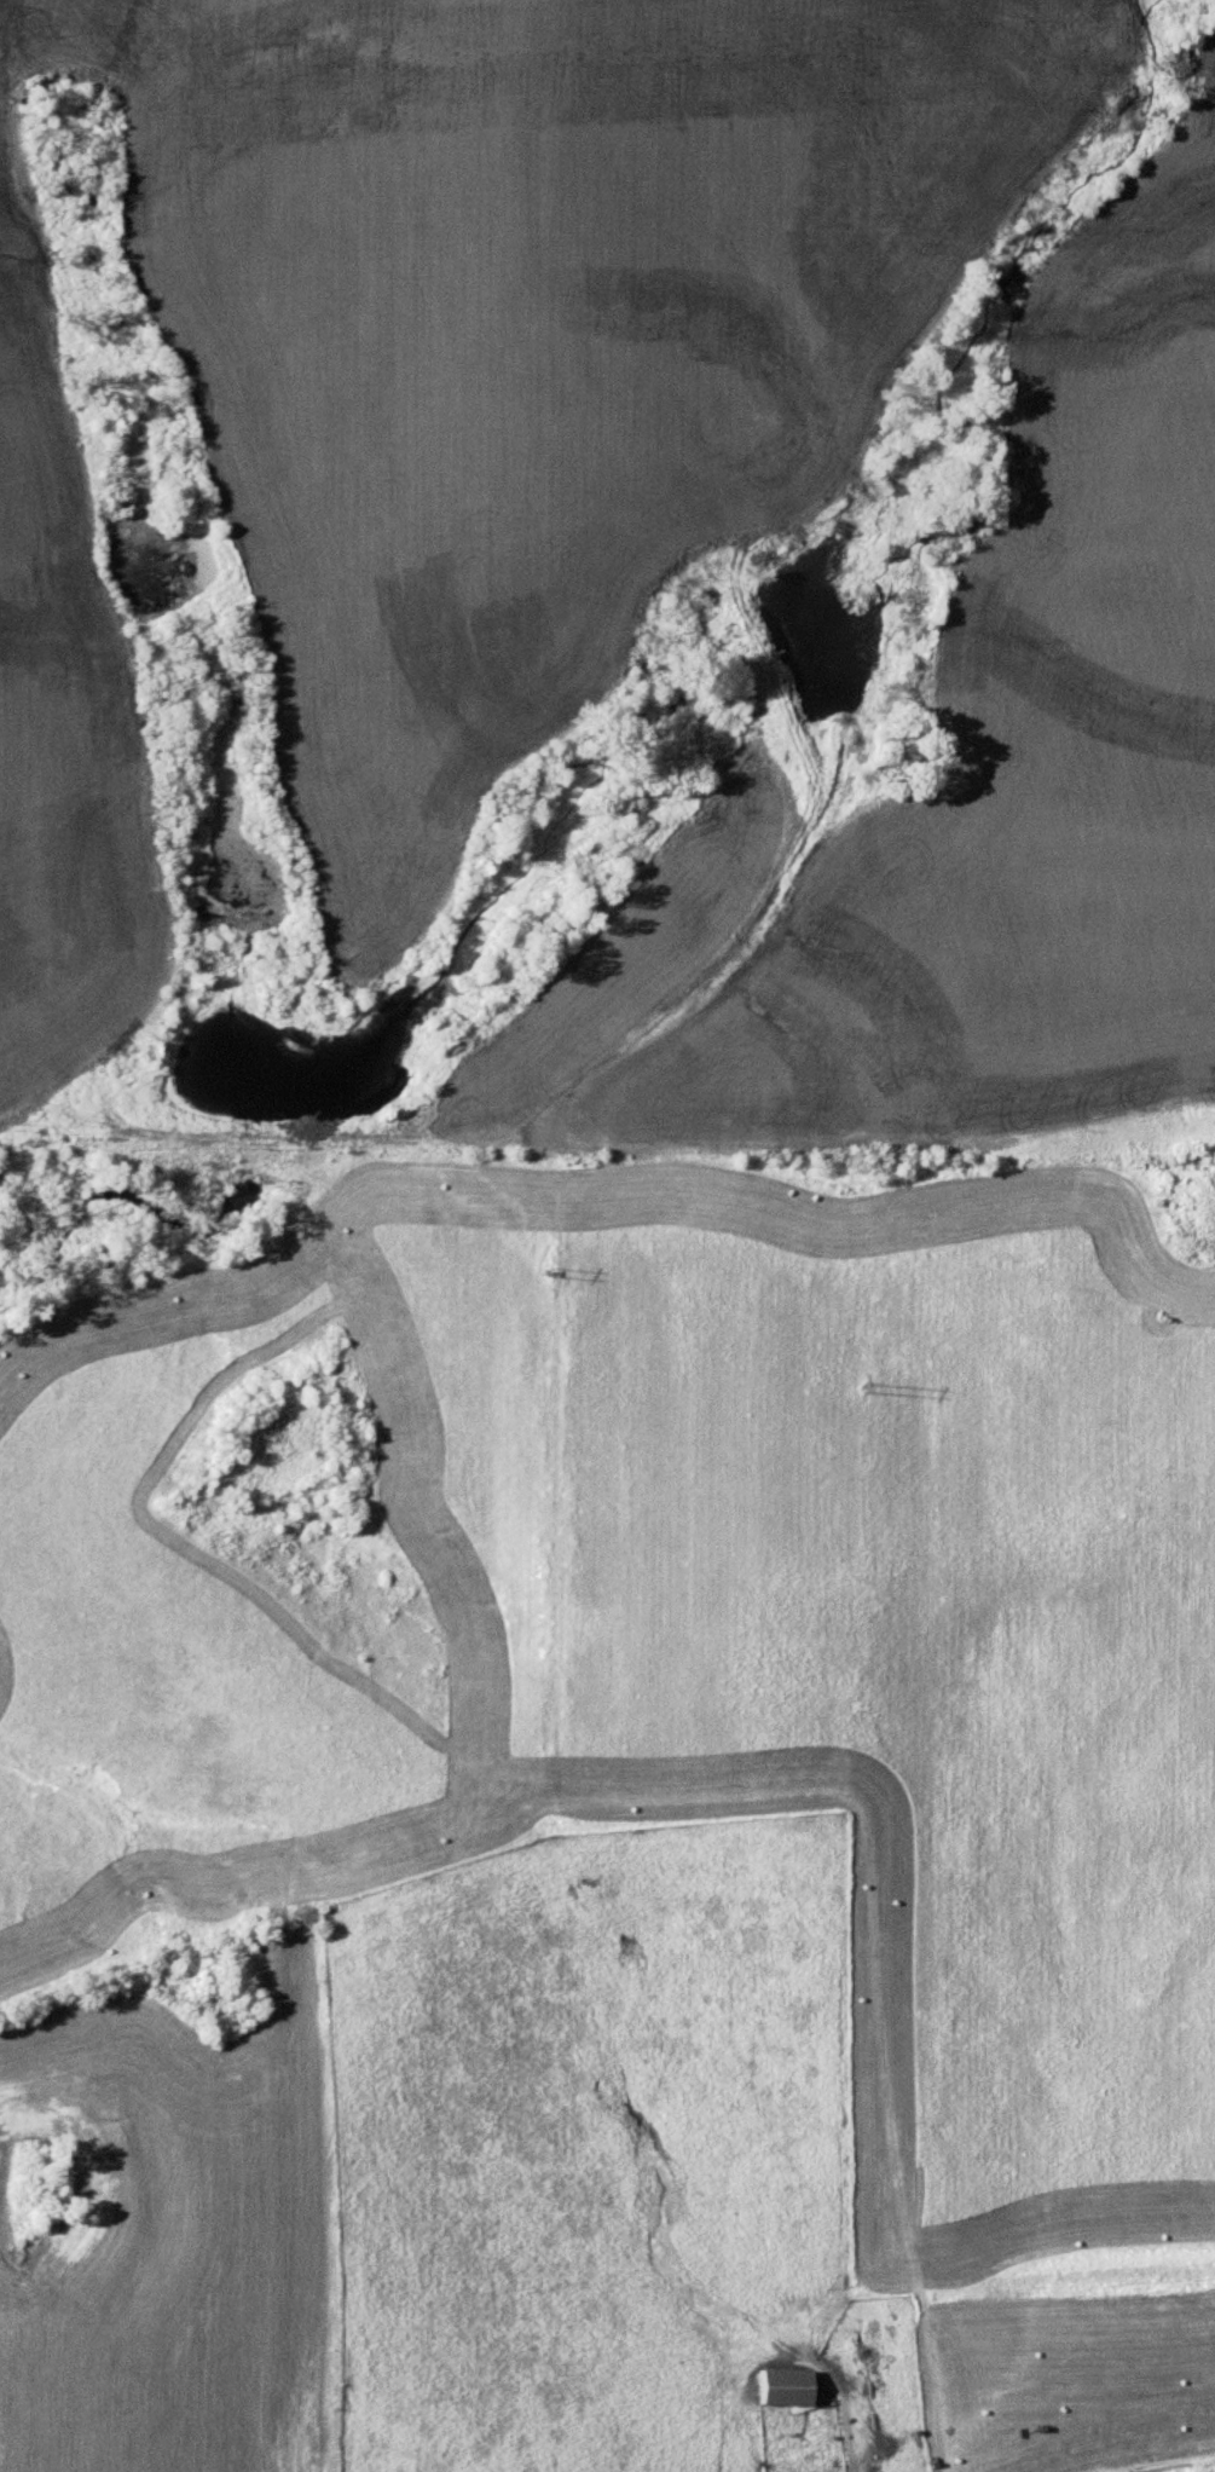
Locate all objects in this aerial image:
building: (787, 2384)

